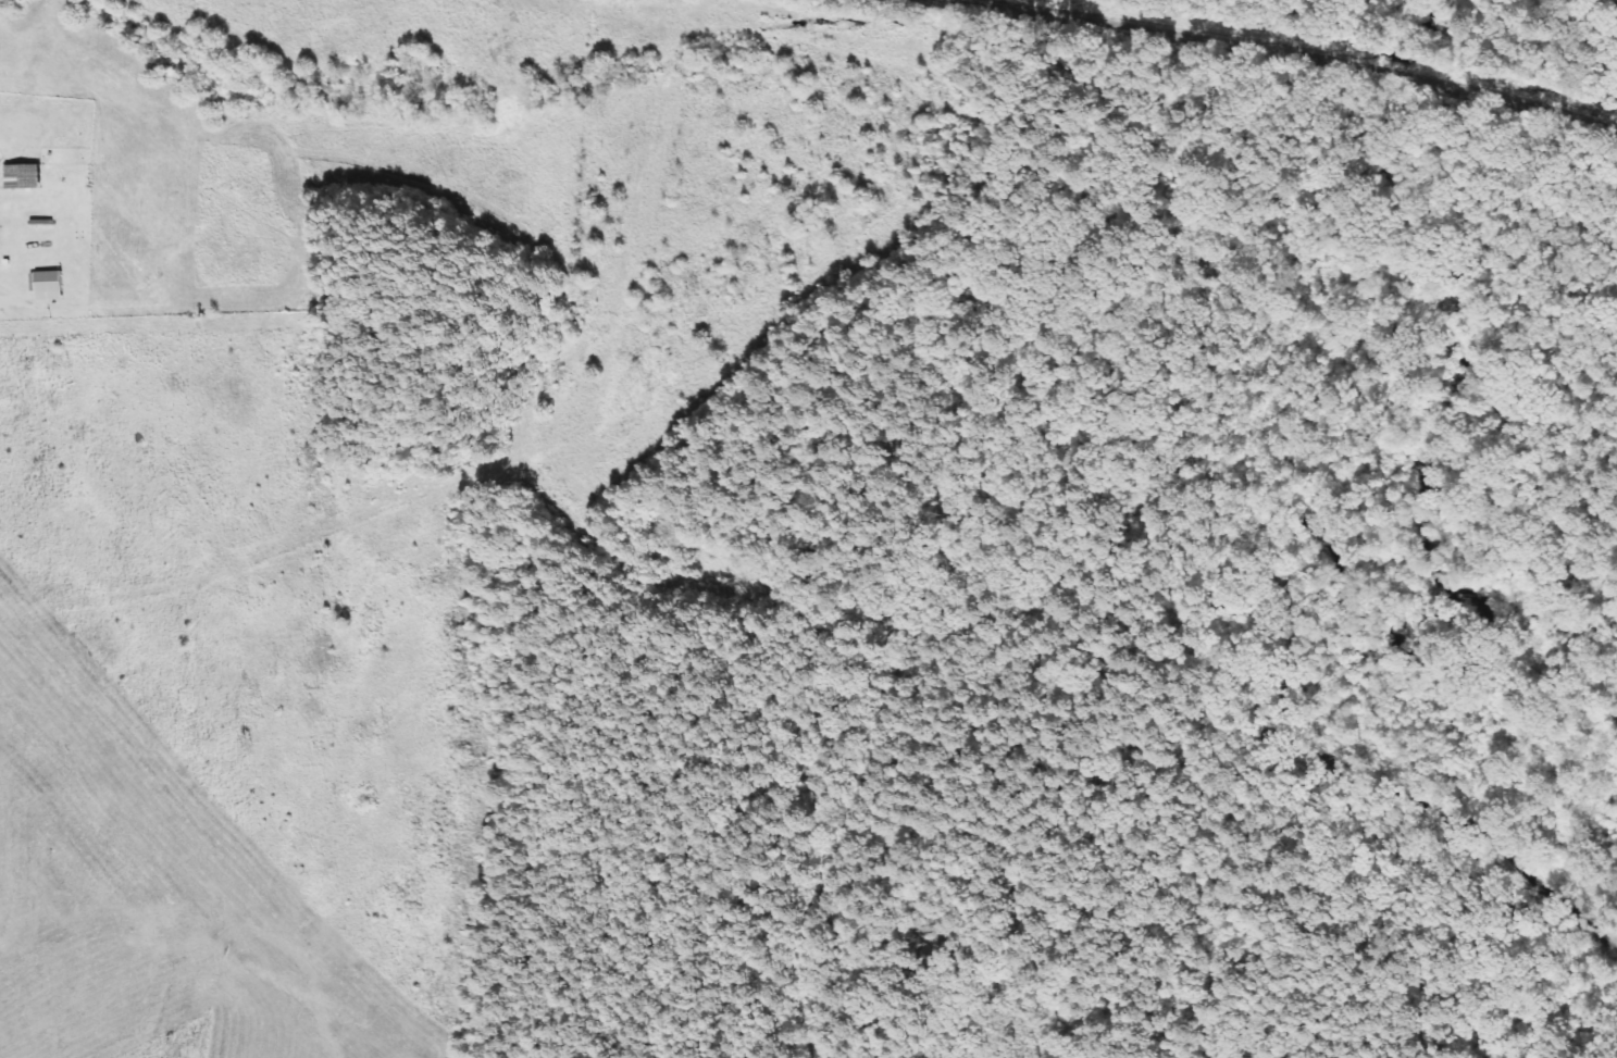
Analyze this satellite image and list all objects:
road: (1280, 53)
building: (46, 285)

